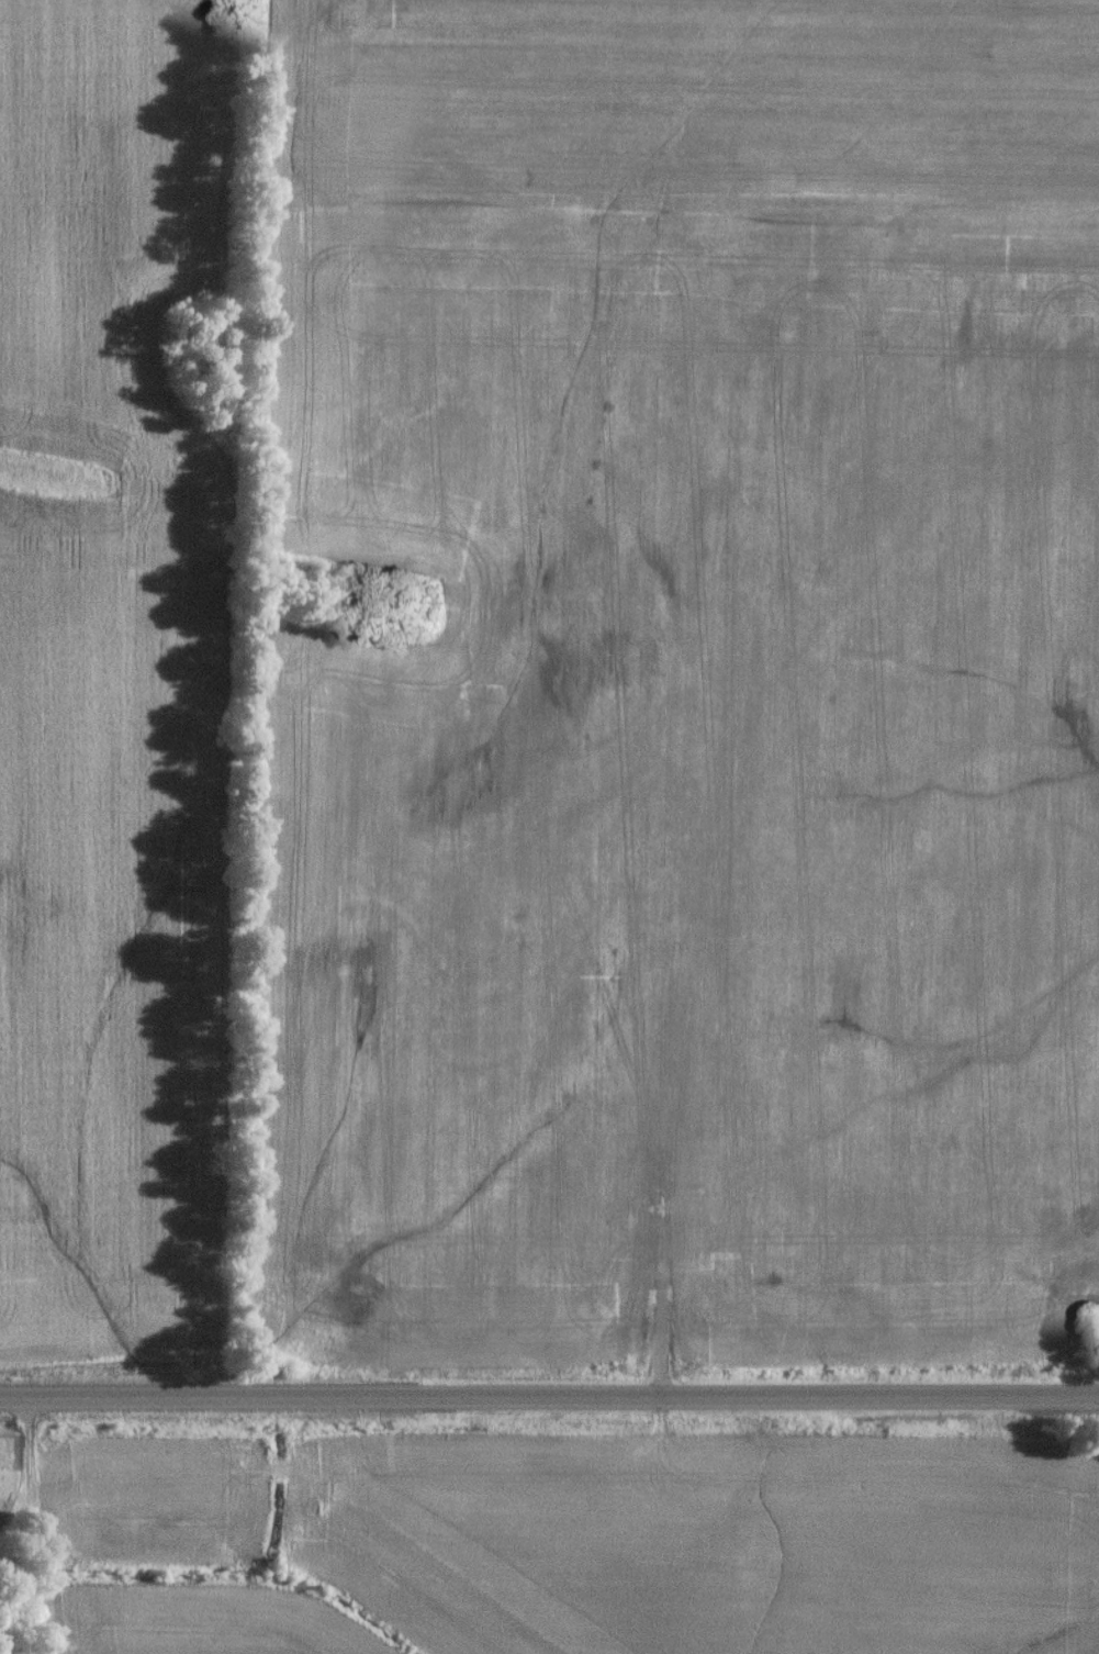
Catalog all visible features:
road: (1081, 1322)
road: (549, 1398)

